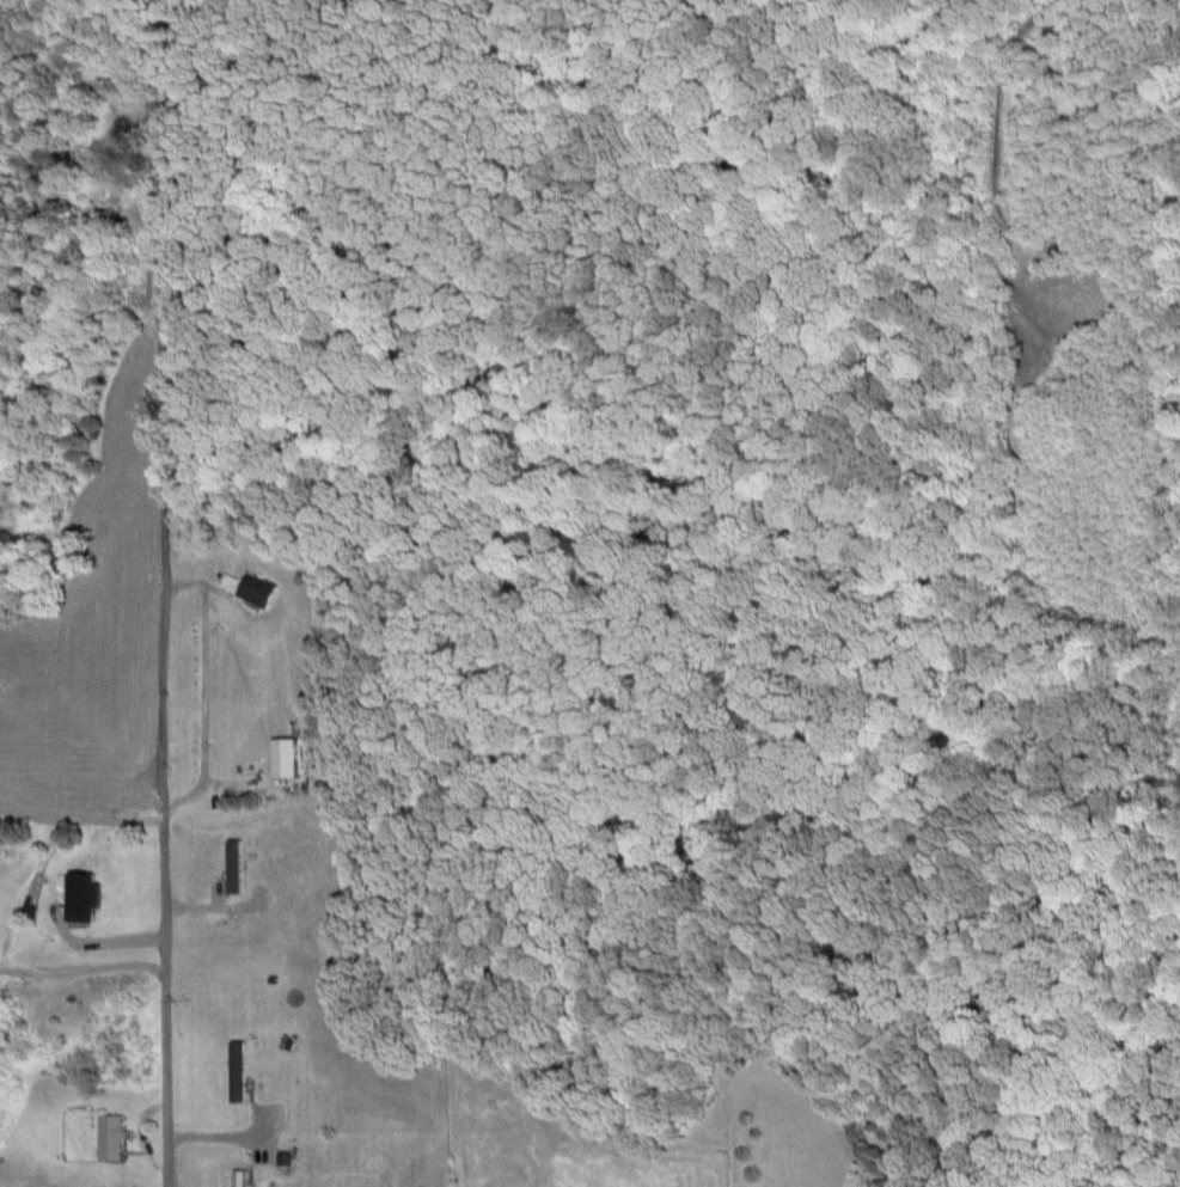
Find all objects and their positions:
road: (209, 579)
building: (256, 588)
road: (163, 634)
road: (201, 681)
building: (103, 724)
building: (283, 755)
road: (243, 785)
building: (231, 863)
building: (86, 905)
road: (97, 942)
road: (84, 966)
building: (237, 1069)
building: (112, 1134)
building: (286, 1157)
building: (240, 1177)

